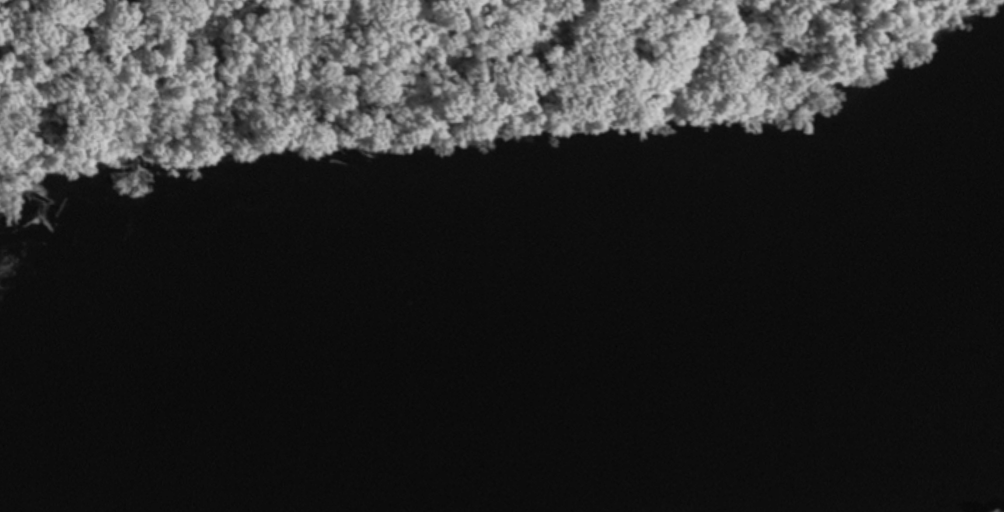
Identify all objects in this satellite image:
river: (507, 358)

